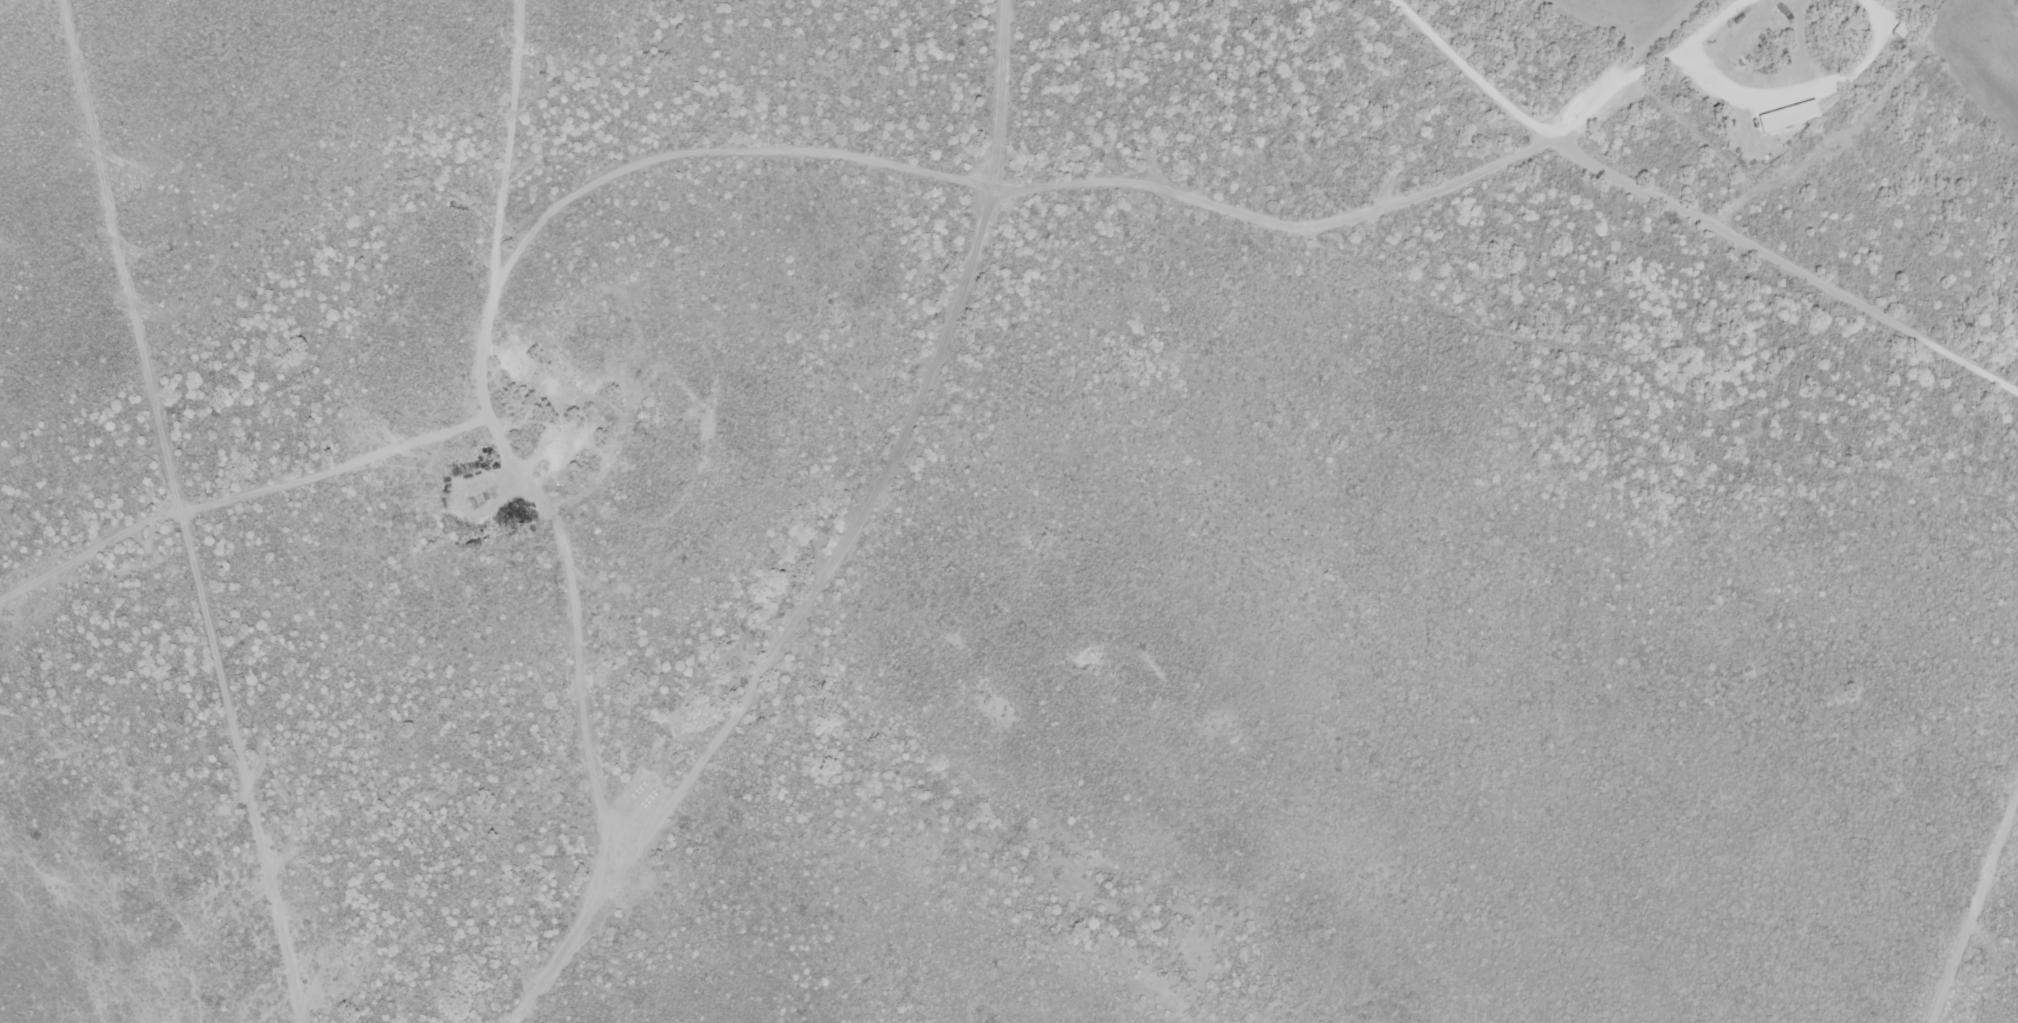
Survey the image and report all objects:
road: (1695, 217)
road: (554, 515)
road: (1974, 904)

